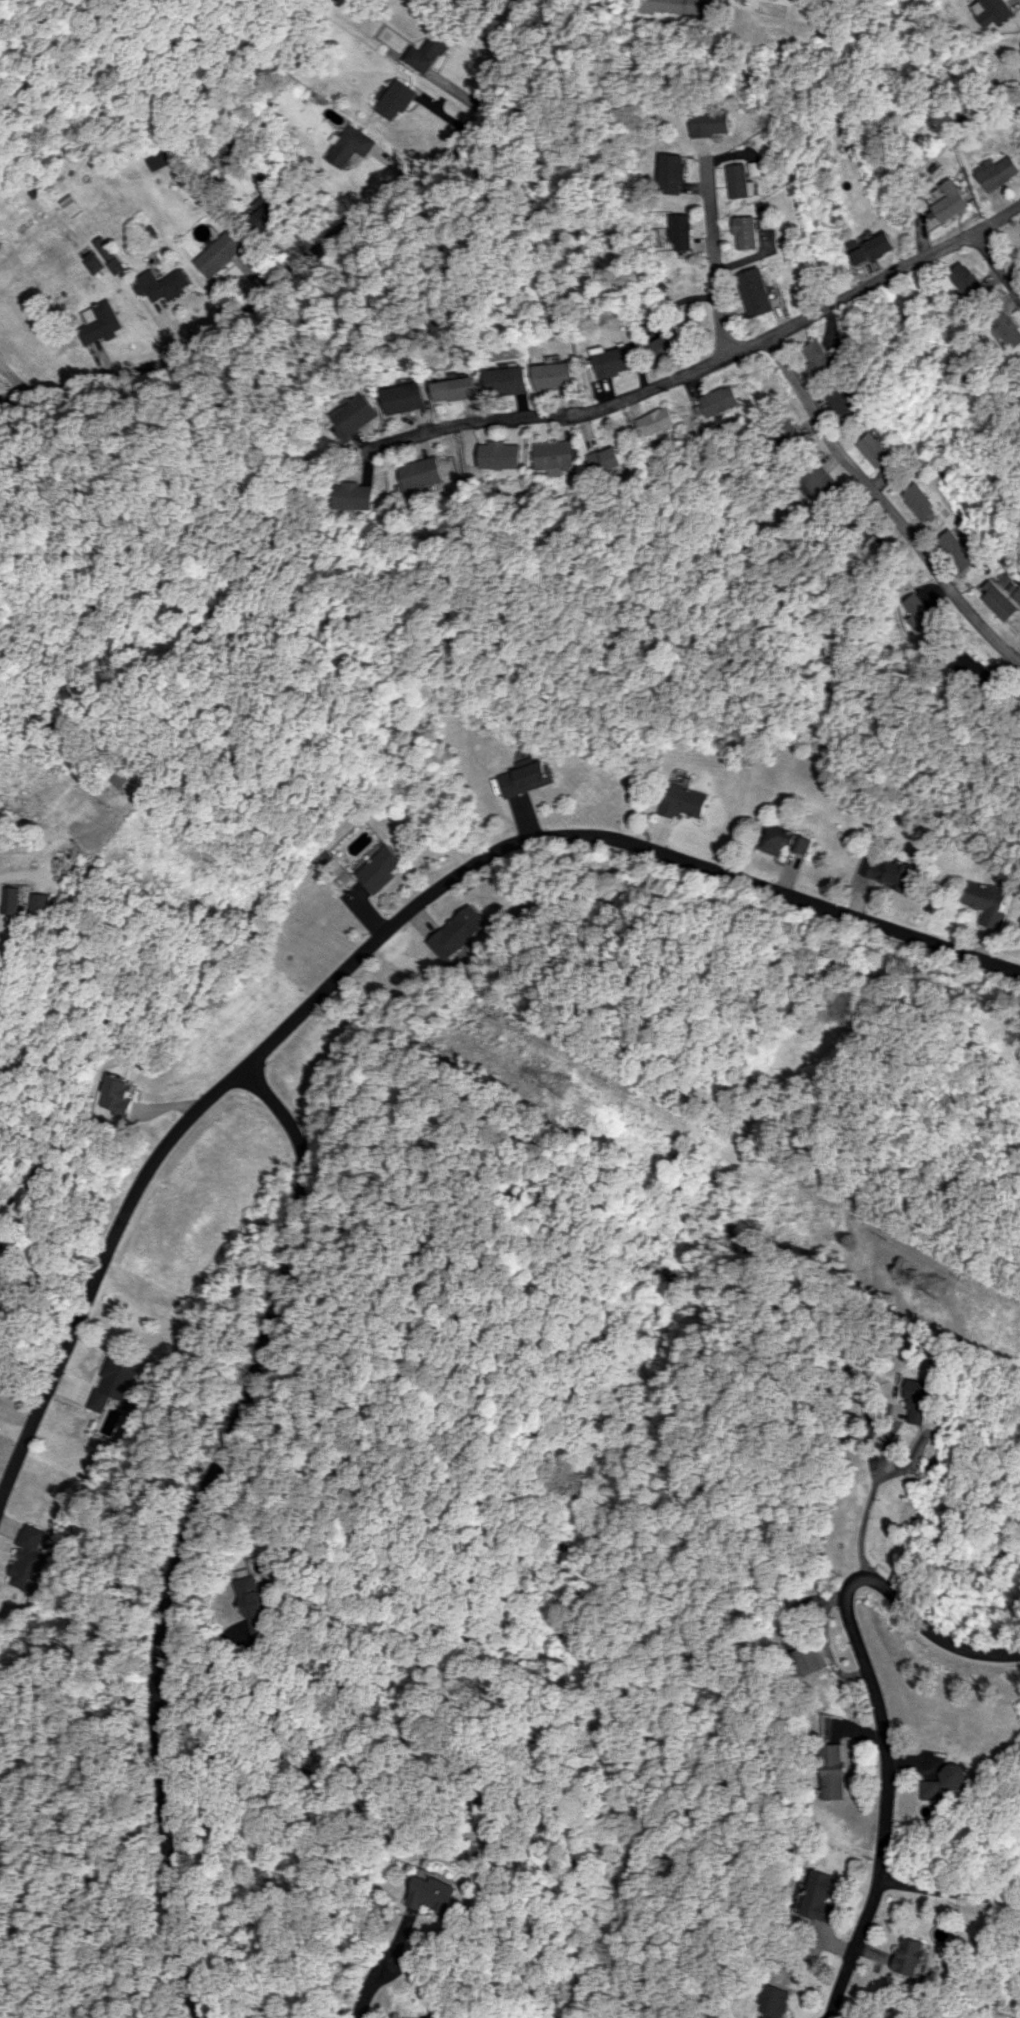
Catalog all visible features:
building: (462, 0)
building: (348, 1)
building: (682, 7)
building: (427, 51)
building: (394, 100)
building: (712, 124)
building: (349, 147)
building: (999, 173)
building: (671, 174)
building: (745, 179)
building: (953, 202)
building: (269, 214)
building: (682, 232)
building: (749, 233)
building: (106, 248)
building: (873, 248)
building: (221, 255)
road: (307, 255)
road: (998, 259)
road: (715, 261)
building: (96, 263)
building: (118, 266)
building: (968, 280)
building: (165, 284)
building: (757, 292)
building: (102, 323)
building: (1008, 328)
building: (669, 338)
building: (819, 358)
building: (611, 362)
road: (707, 364)
road: (14, 374)
building: (554, 376)
building: (508, 381)
building: (455, 389)
building: (404, 398)
building: (722, 401)
building: (843, 405)
building: (353, 417)
building: (655, 422)
building: (790, 432)
building: (877, 450)
building: (500, 455)
building: (555, 456)
building: (608, 462)
building: (420, 473)
building: (822, 485)
building: (351, 496)
building: (924, 502)
road: (887, 504)
building: (963, 551)
building: (1006, 596)
building: (926, 615)
building: (977, 672)
building: (525, 777)
building: (681, 802)
building: (782, 841)
building: (382, 870)
building: (887, 873)
road: (21, 875)
building: (21, 900)
building: (984, 903)
building: (47, 905)
building: (458, 932)
road: (379, 934)
power tower: (566, 1086)
building: (122, 1096)
power tower: (940, 1289)
road: (27, 1357)
building: (112, 1382)
building: (923, 1401)
road: (871, 1504)
road: (192, 1526)
building: (25, 1559)
building: (252, 1605)
road: (218, 1660)
road: (882, 1704)
building: (835, 1772)
building: (950, 1782)
road: (951, 1890)
building: (436, 1895)
building: (821, 1896)
building: (917, 1957)
road: (366, 1987)
building: (777, 2002)

